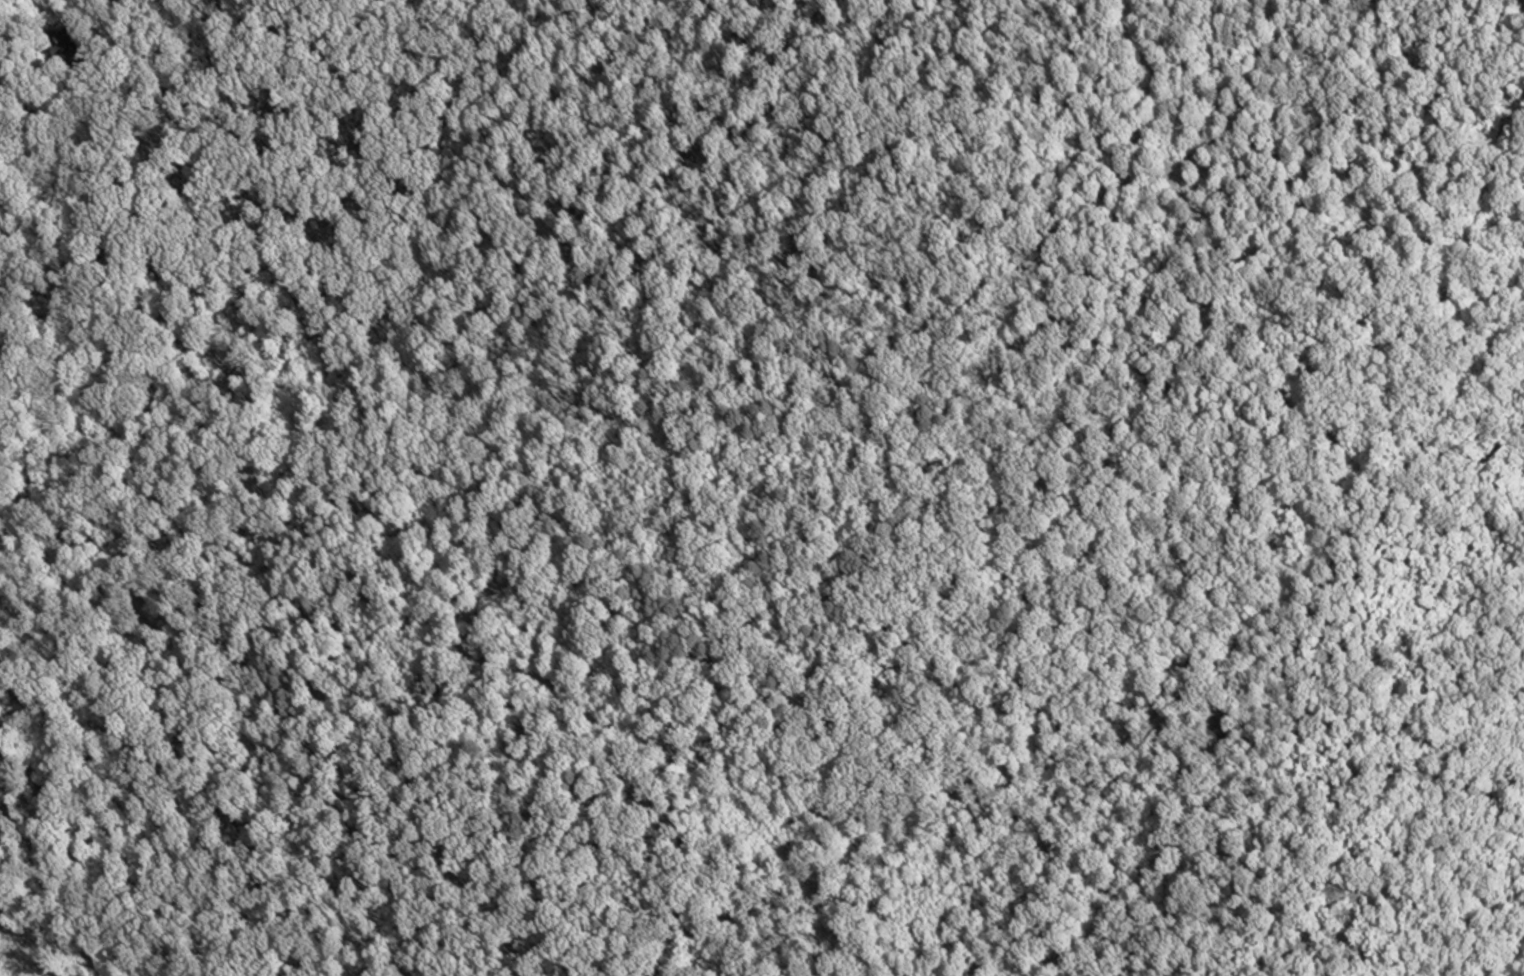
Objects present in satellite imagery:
building: (65, 53)
road: (26, 86)
road: (30, 130)
road: (32, 297)
road: (1489, 582)

